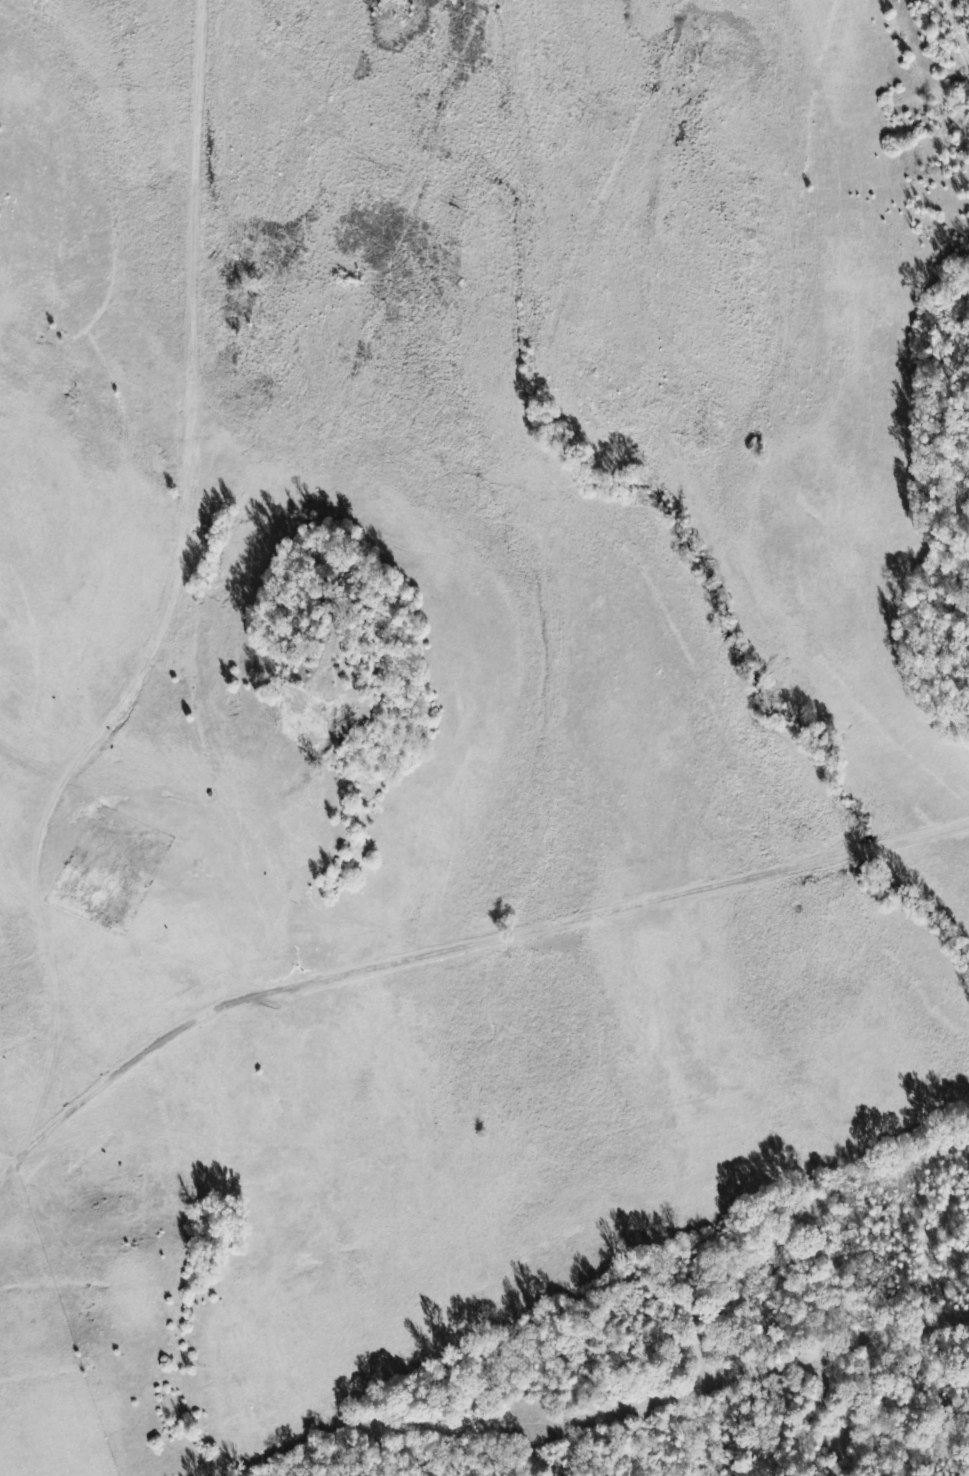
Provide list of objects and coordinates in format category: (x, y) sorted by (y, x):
road: (91, 71)
road: (166, 590)
road: (29, 764)
road: (457, 944)

